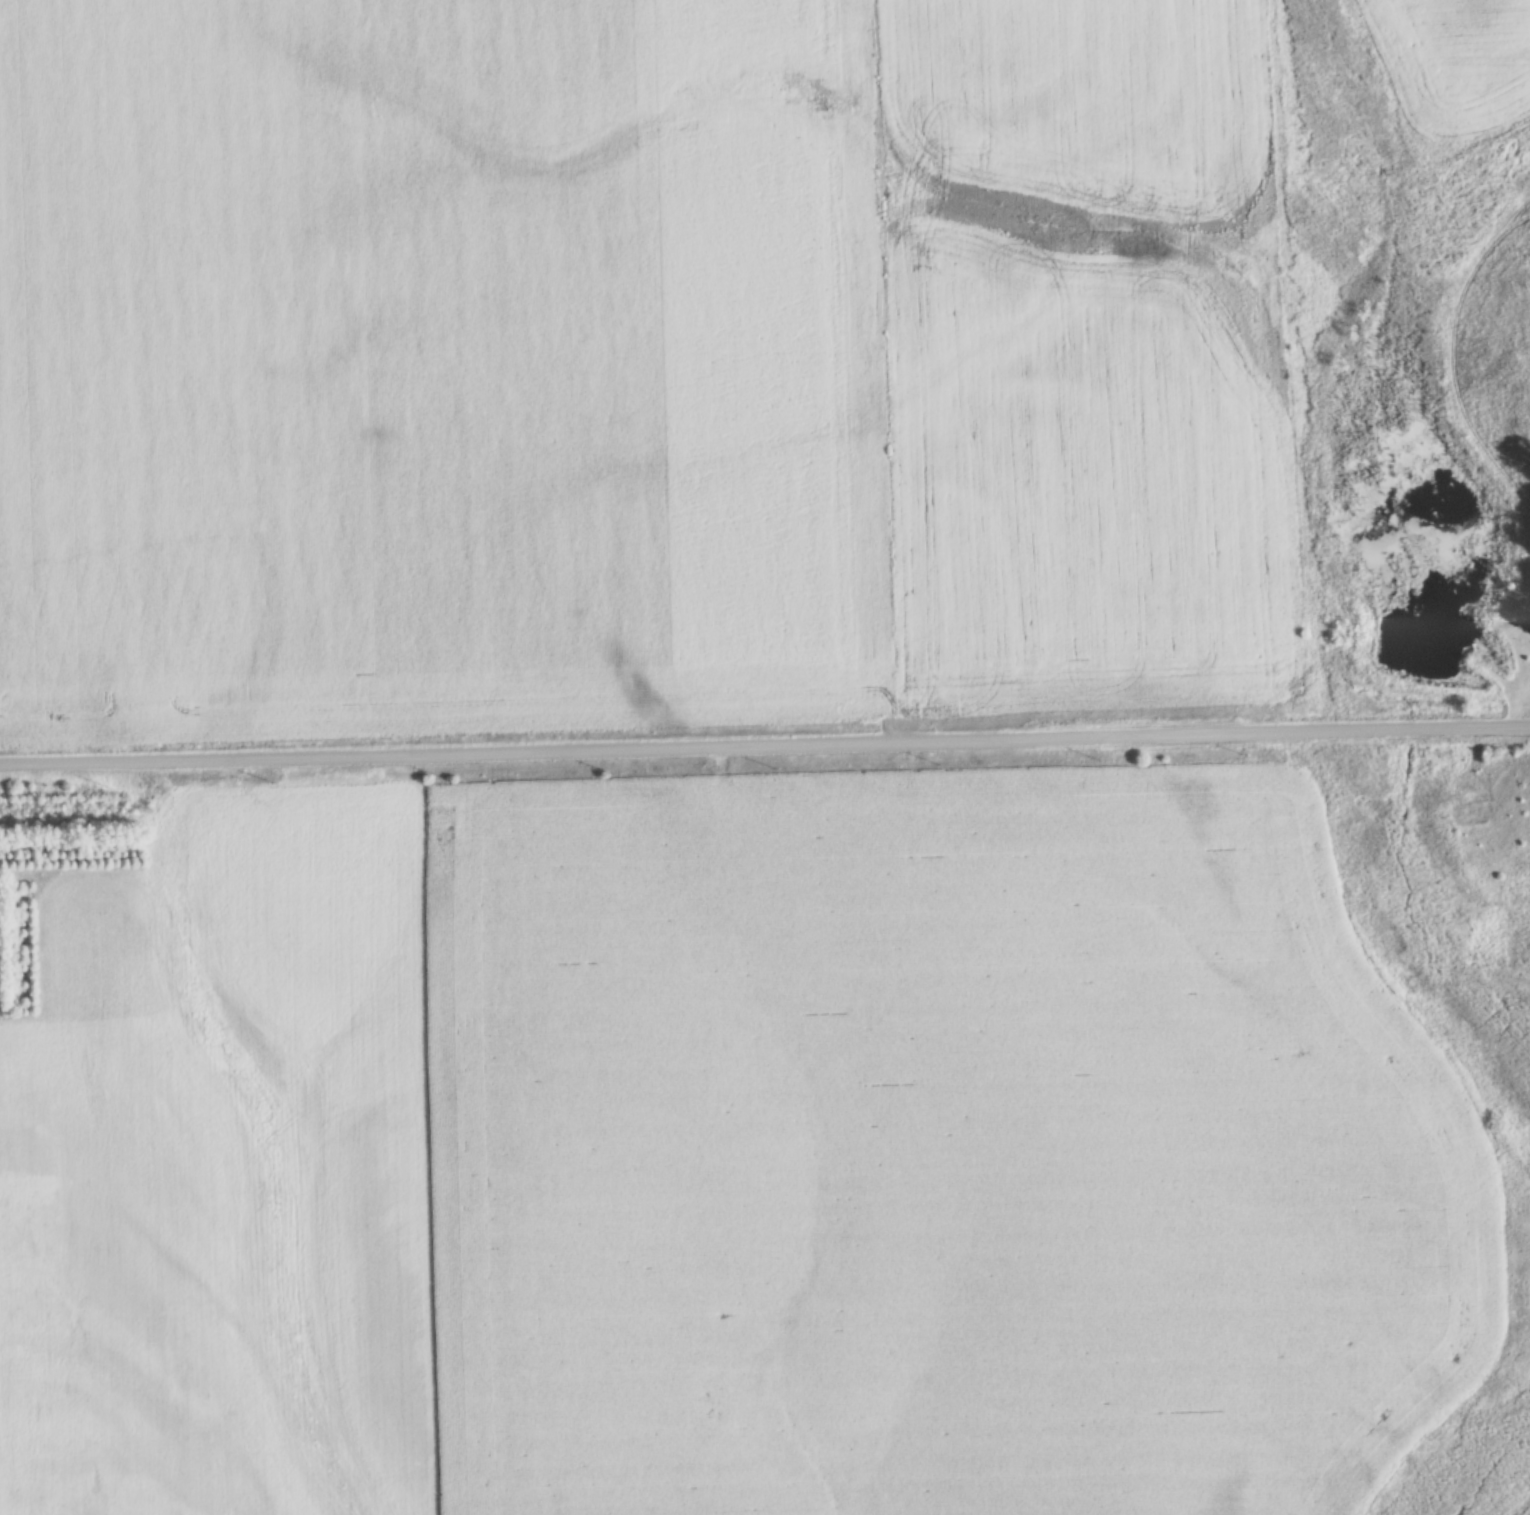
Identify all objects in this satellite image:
road: (764, 740)

